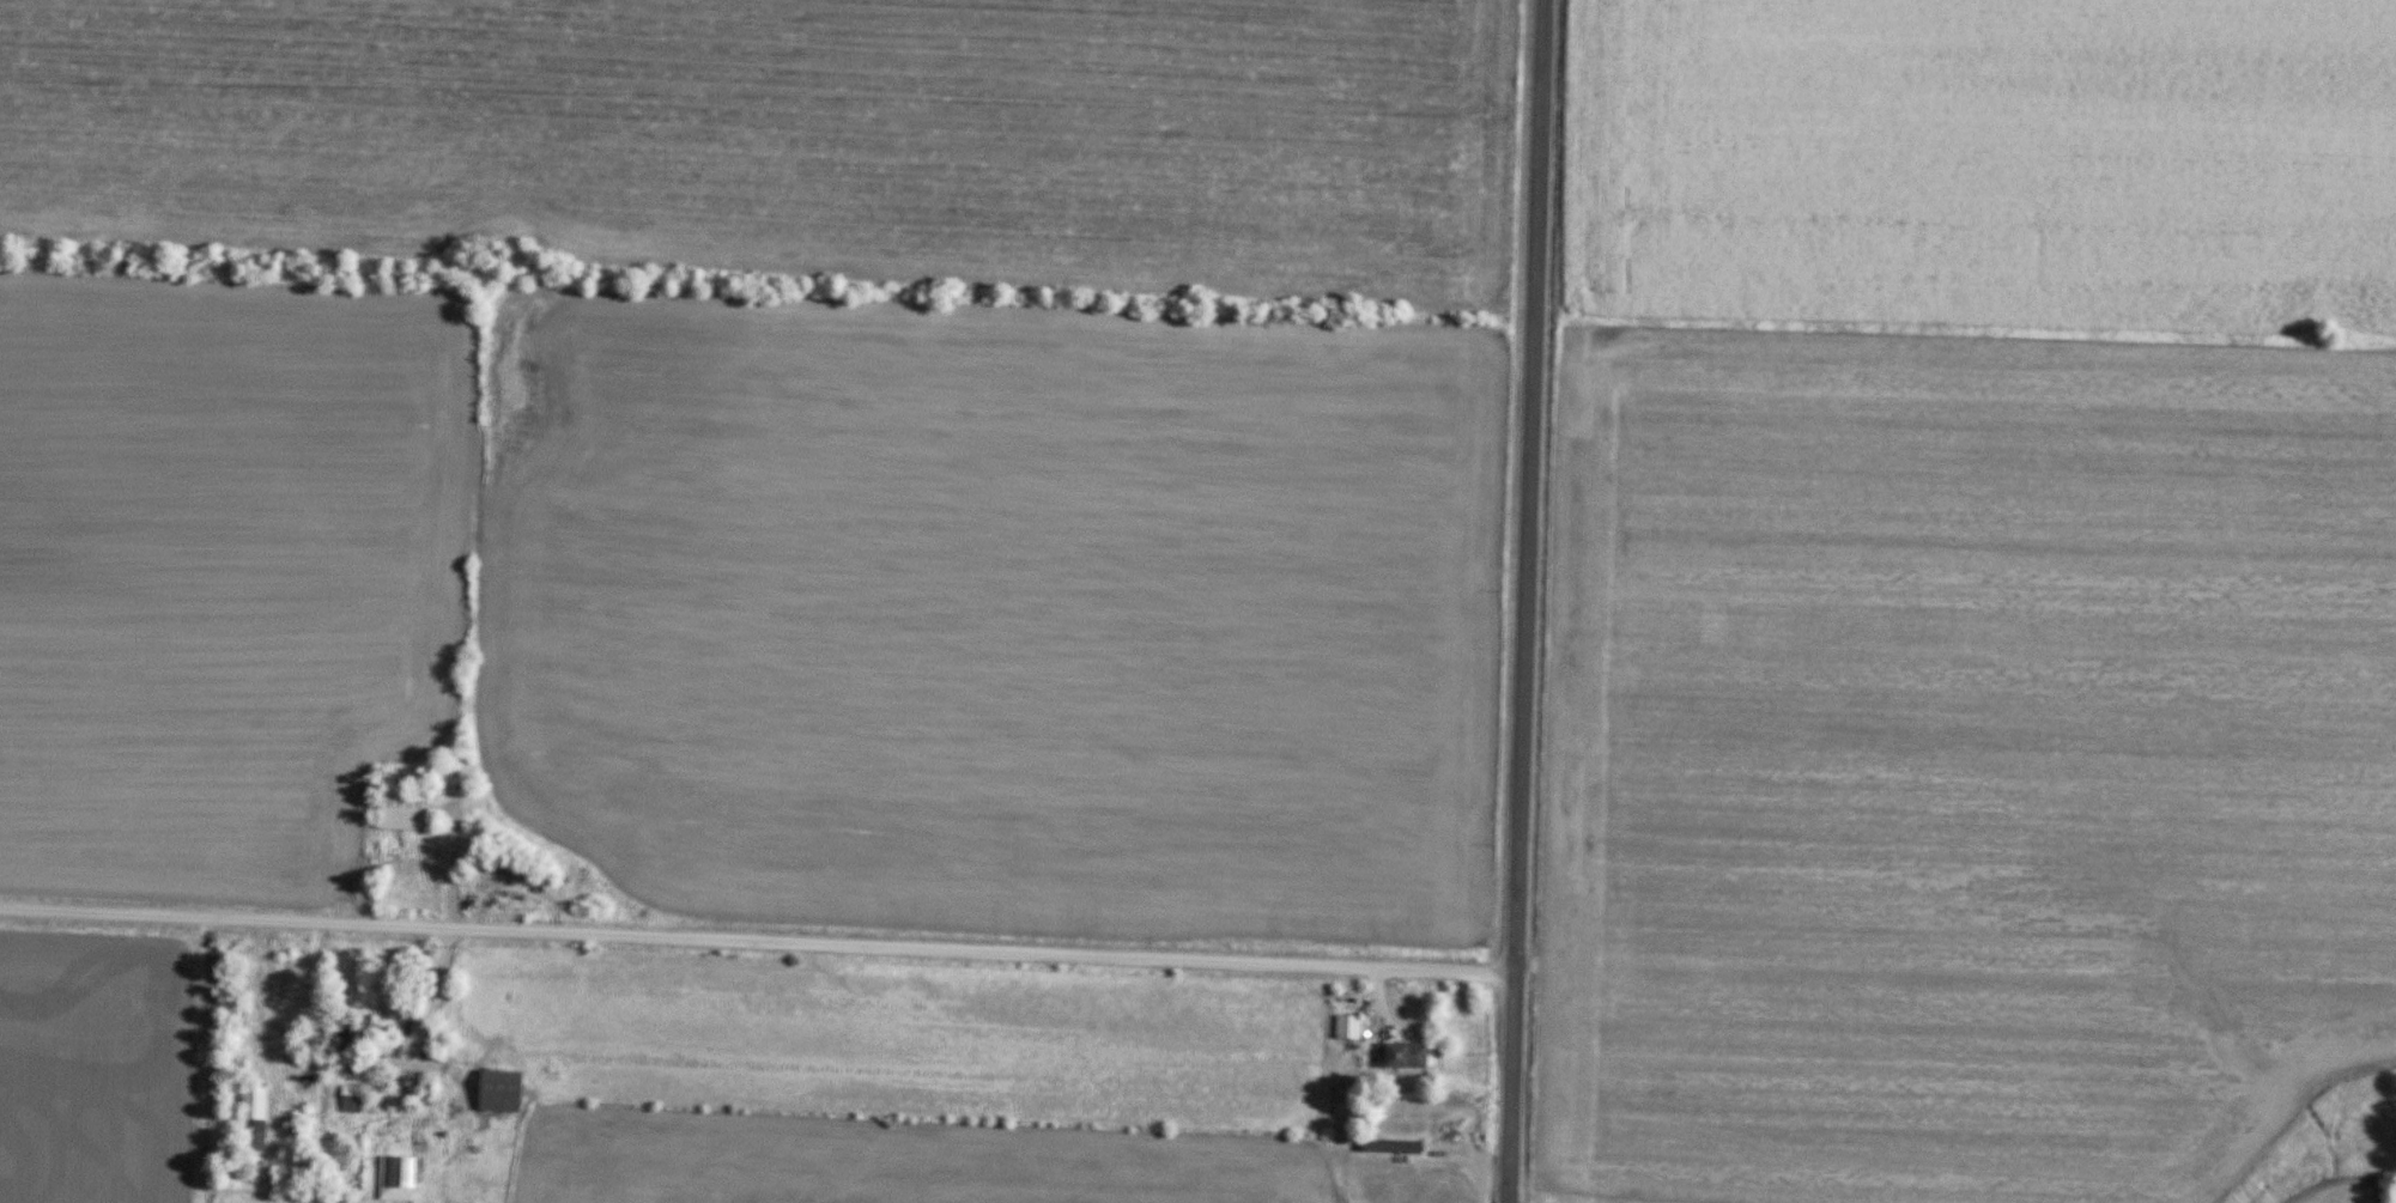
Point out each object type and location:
road: (1524, 601)
building: (405, 810)
road: (758, 947)
road: (435, 996)
building: (1348, 1028)
building: (1407, 1056)
building: (360, 1065)
building: (501, 1090)
building: (353, 1099)
building: (255, 1119)
building: (1393, 1147)
building: (398, 1179)

